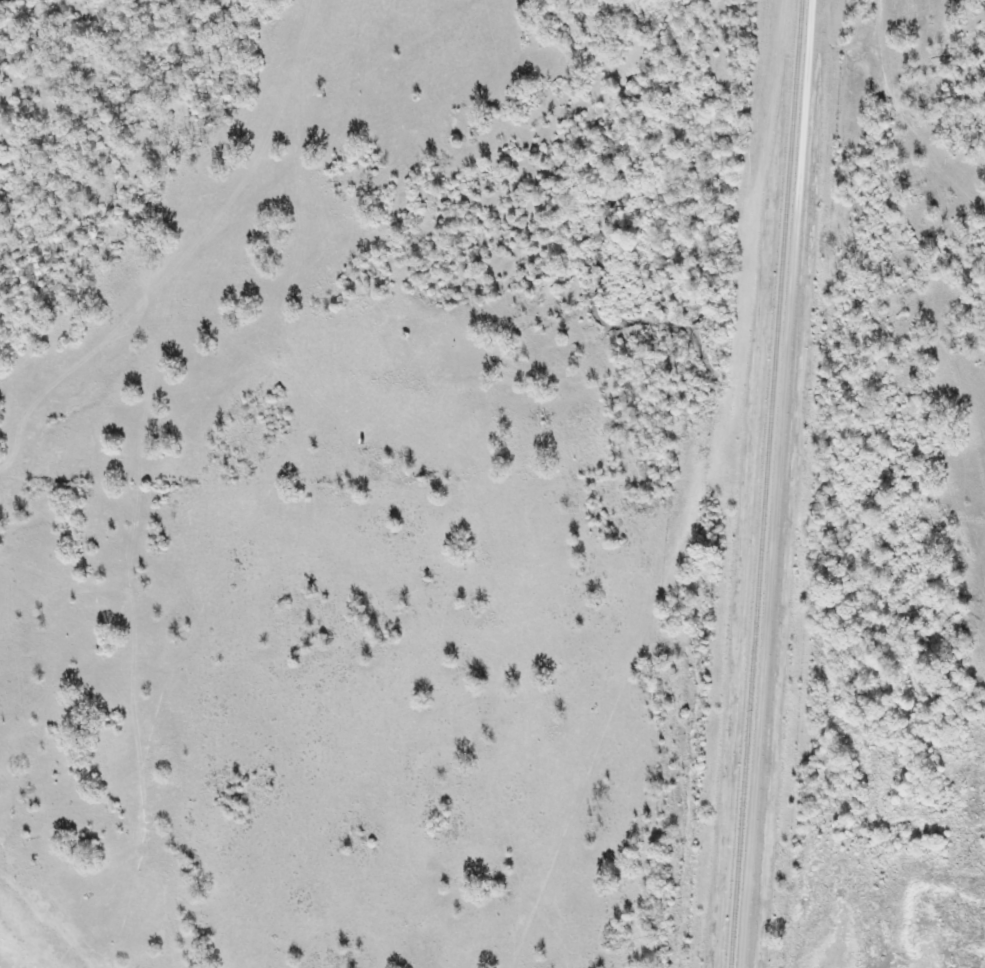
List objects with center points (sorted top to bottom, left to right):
railway: (765, 483)
road: (775, 484)

